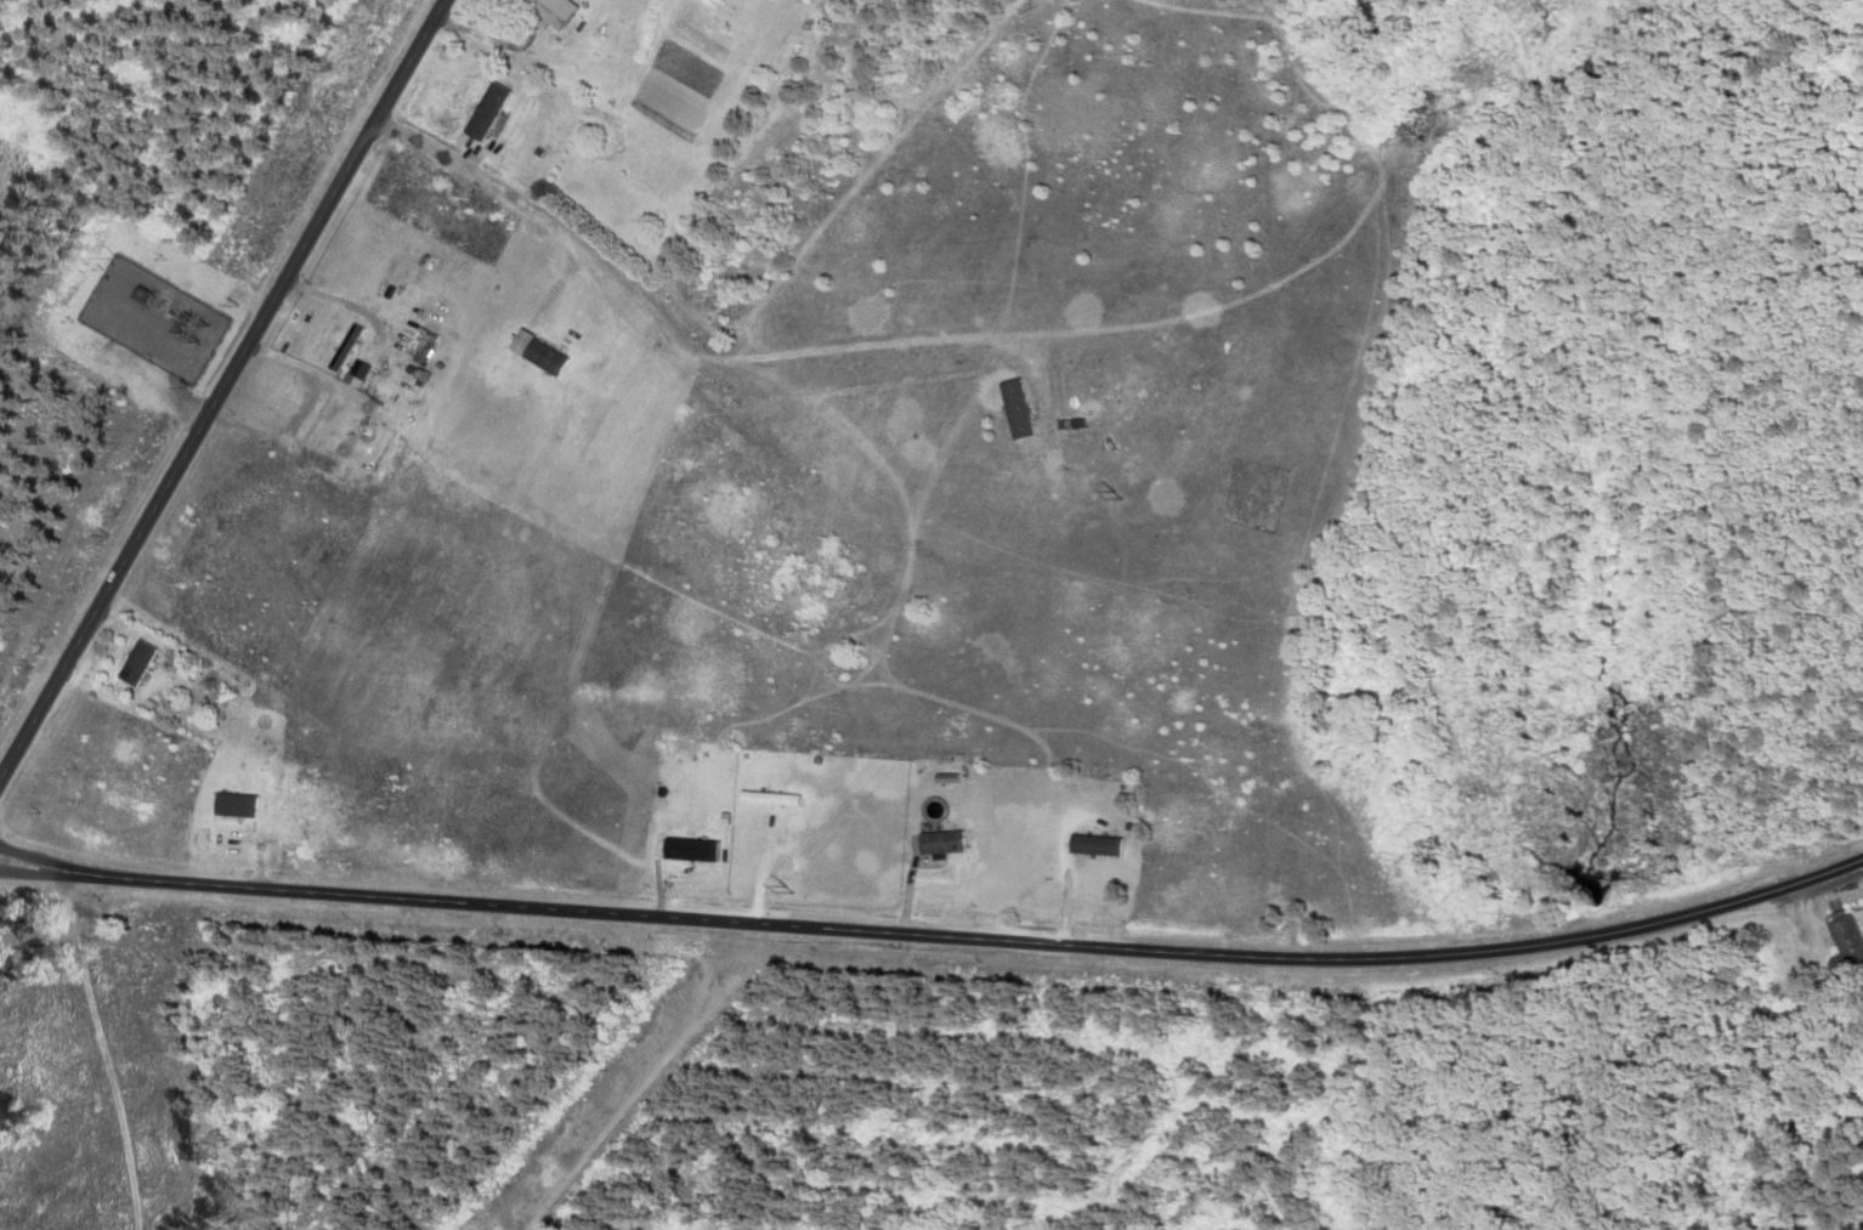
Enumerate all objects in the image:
building: (549, 11)
building: (486, 110)
power tower: (1403, 134)
building: (537, 353)
road: (222, 389)
building: (1013, 409)
building: (311, 415)
power tower: (1115, 493)
building: (829, 567)
building: (136, 663)
building: (236, 806)
building: (936, 843)
building: (1091, 845)
building: (686, 851)
power tower: (783, 886)
road: (935, 935)
building: (1844, 946)

